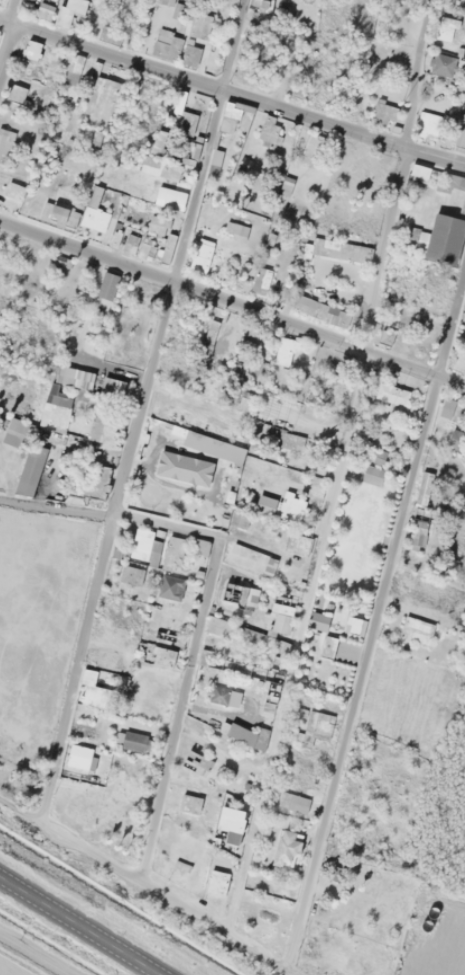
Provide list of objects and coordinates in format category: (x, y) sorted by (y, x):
road: (10, 11)
road: (8, 51)
road: (232, 94)
road: (398, 175)
road: (232, 305)
road: (137, 410)
road: (106, 517)
road: (374, 619)
road: (294, 641)
road: (180, 708)
road: (79, 926)

